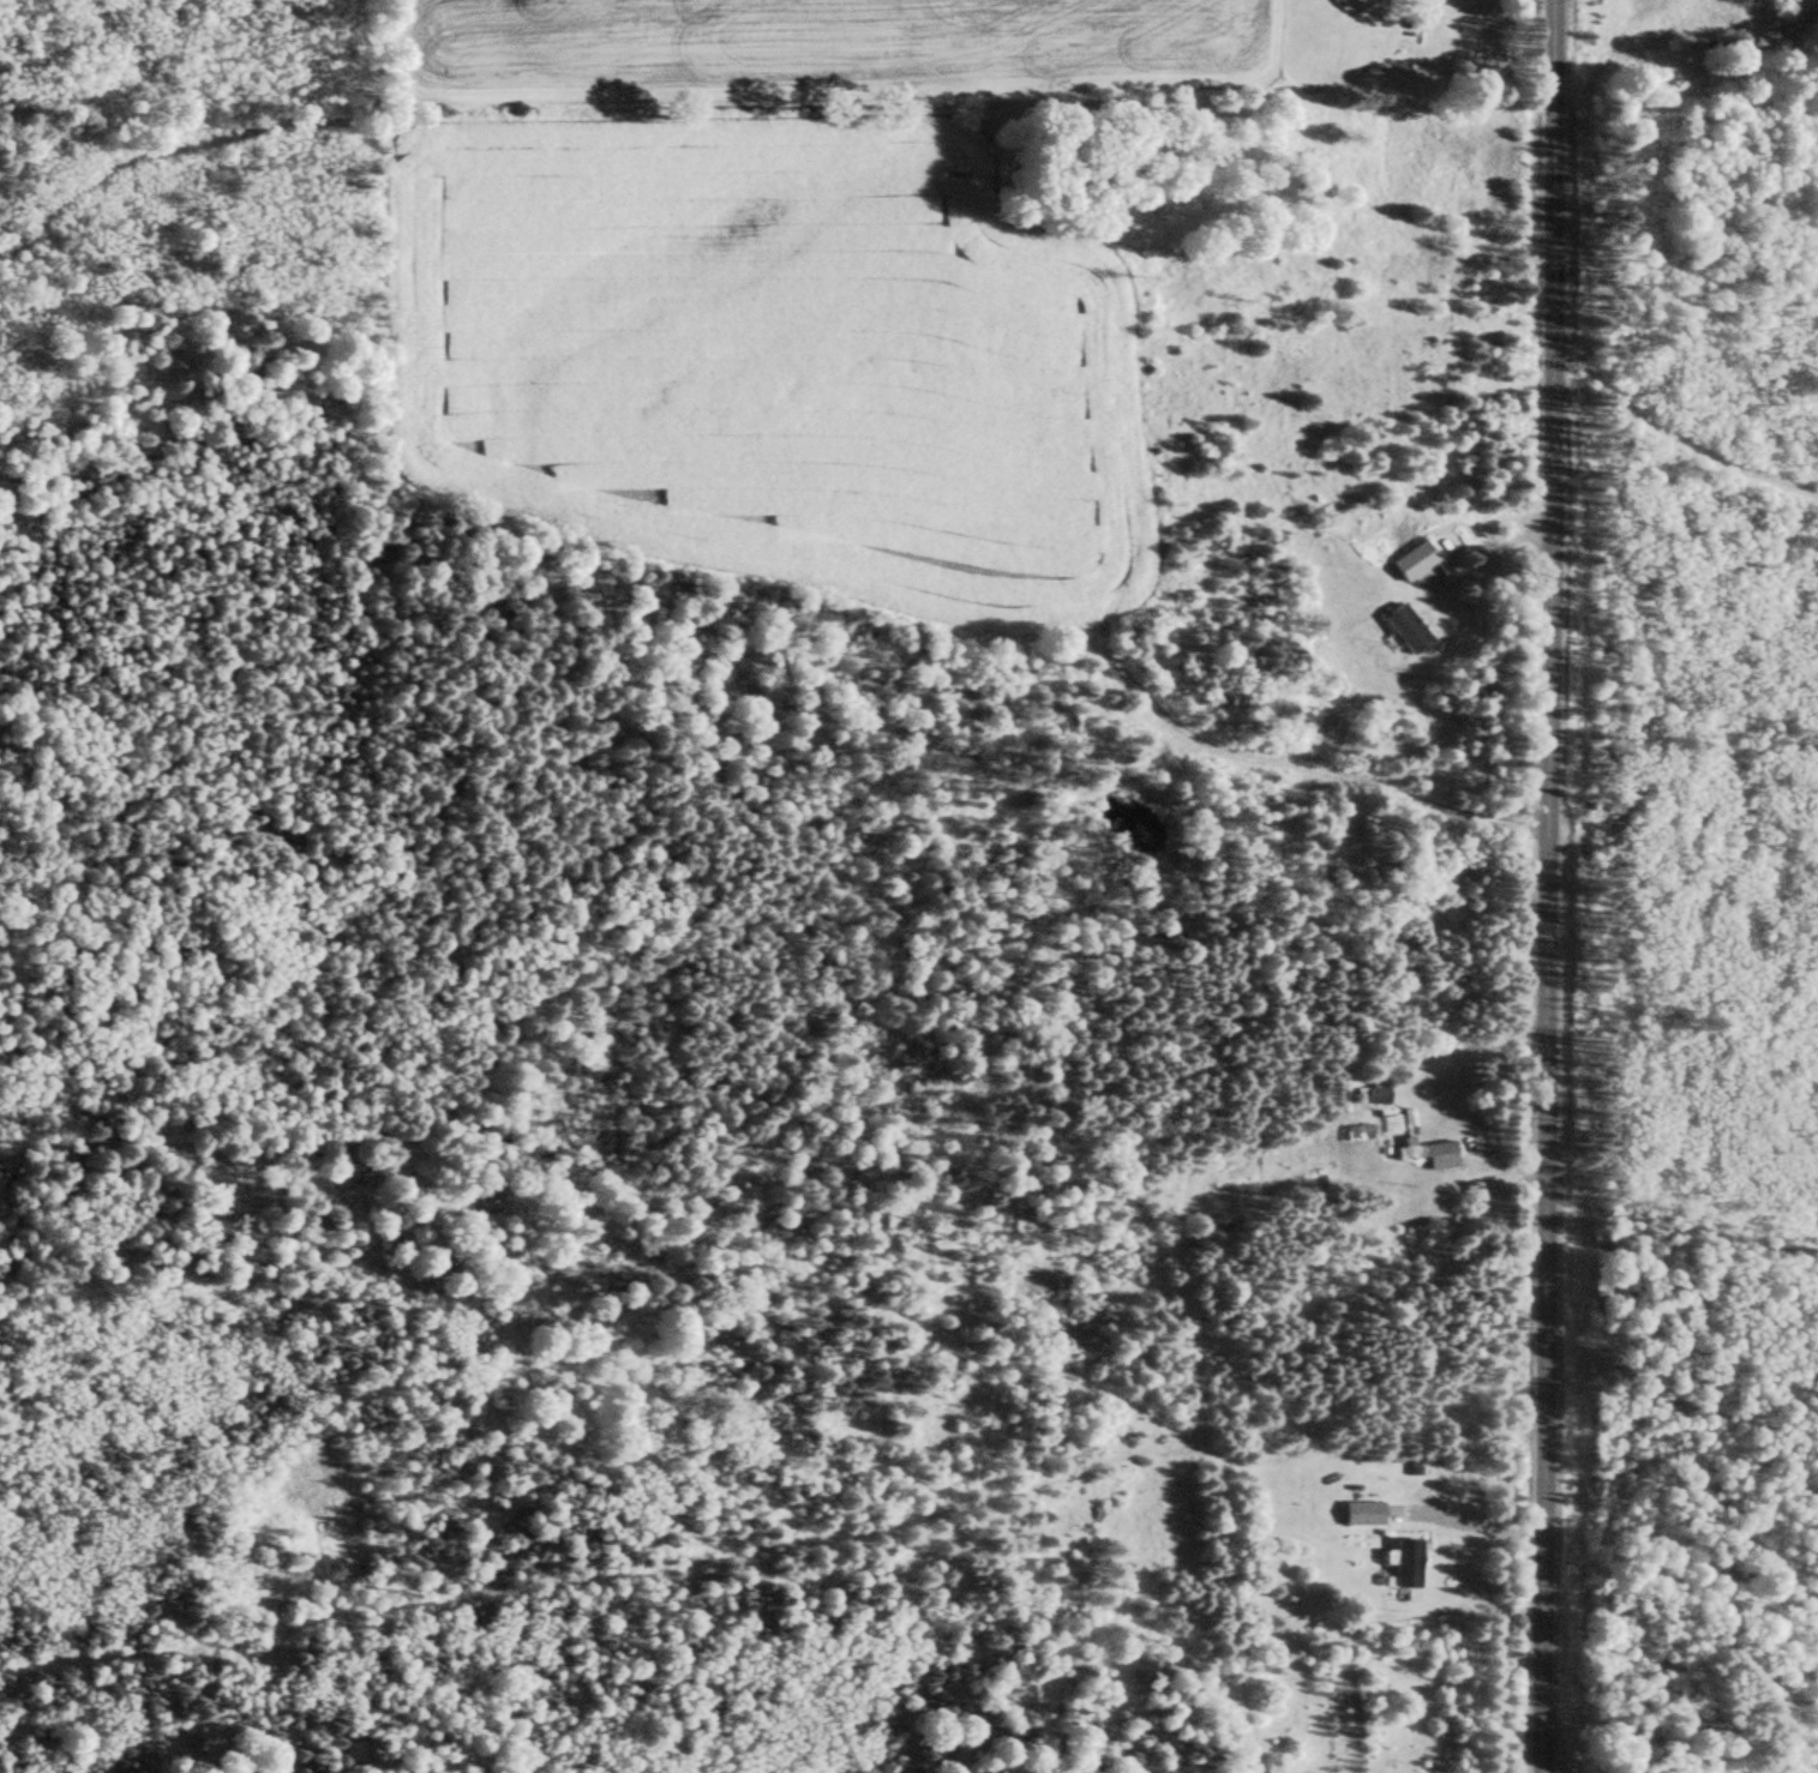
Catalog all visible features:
road: (1685, 37)
building: (1415, 564)
building: (1406, 631)
road: (1548, 886)
building: (1373, 1094)
building: (1358, 1134)
building: (1428, 1154)
building: (1370, 1515)
building: (1408, 1564)

